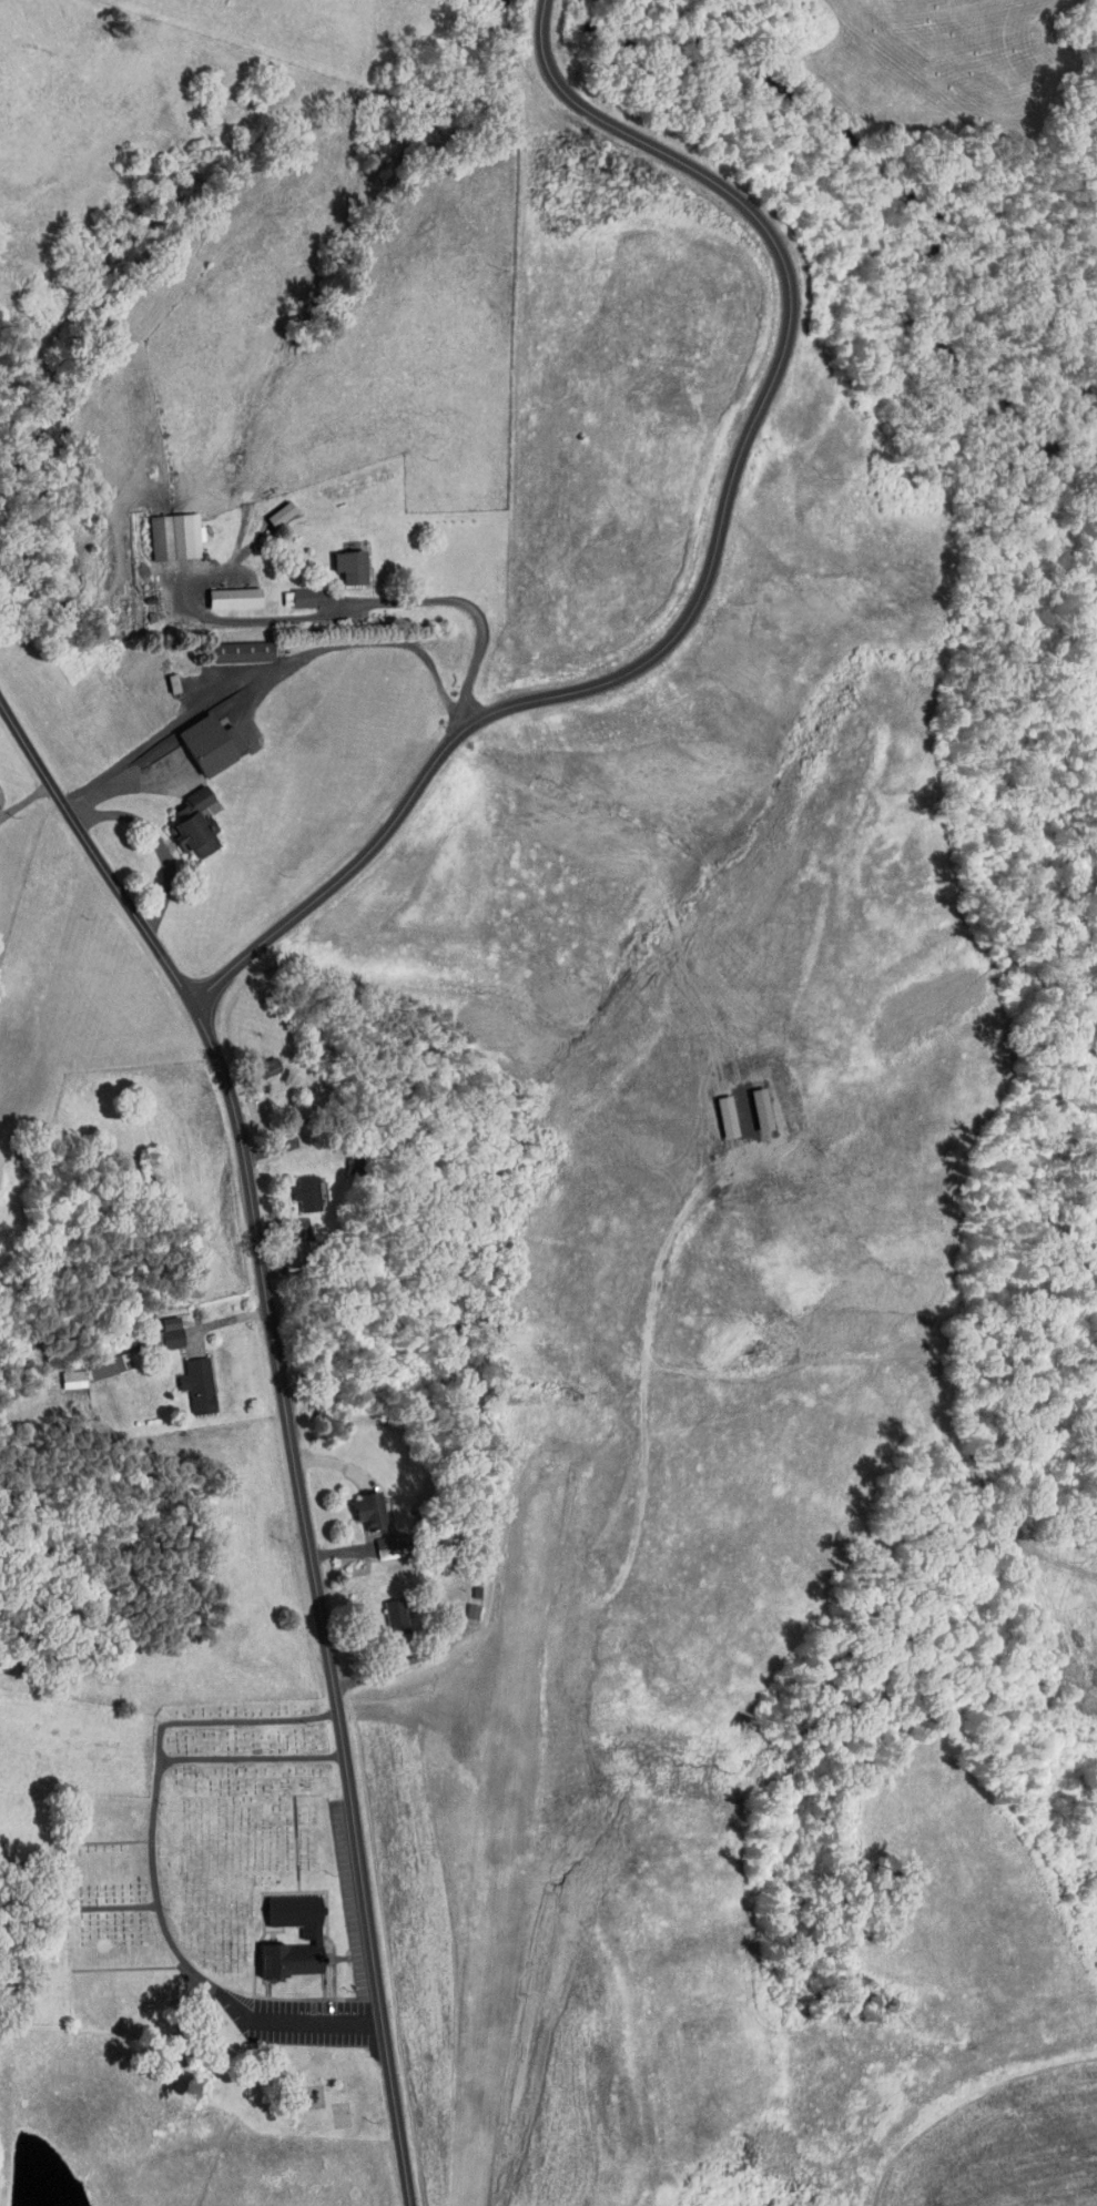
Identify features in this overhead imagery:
road: (545, 54)
building: (267, 507)
building: (162, 529)
building: (337, 559)
building: (221, 591)
building: (290, 591)
road: (359, 606)
road: (689, 617)
building: (228, 645)
road: (274, 665)
building: (197, 739)
building: (182, 817)
road: (153, 842)
road: (95, 846)
building: (250, 1061)
building: (748, 1102)
building: (713, 1110)
building: (294, 1187)
building: (154, 1328)
building: (97, 1361)
building: (60, 1373)
building: (184, 1379)
building: (356, 1505)
building: (374, 1539)
road: (323, 1597)
building: (460, 1605)
building: (383, 1609)
road: (232, 1720)
road: (155, 1885)
building: (297, 1927)
building: (191, 2013)

